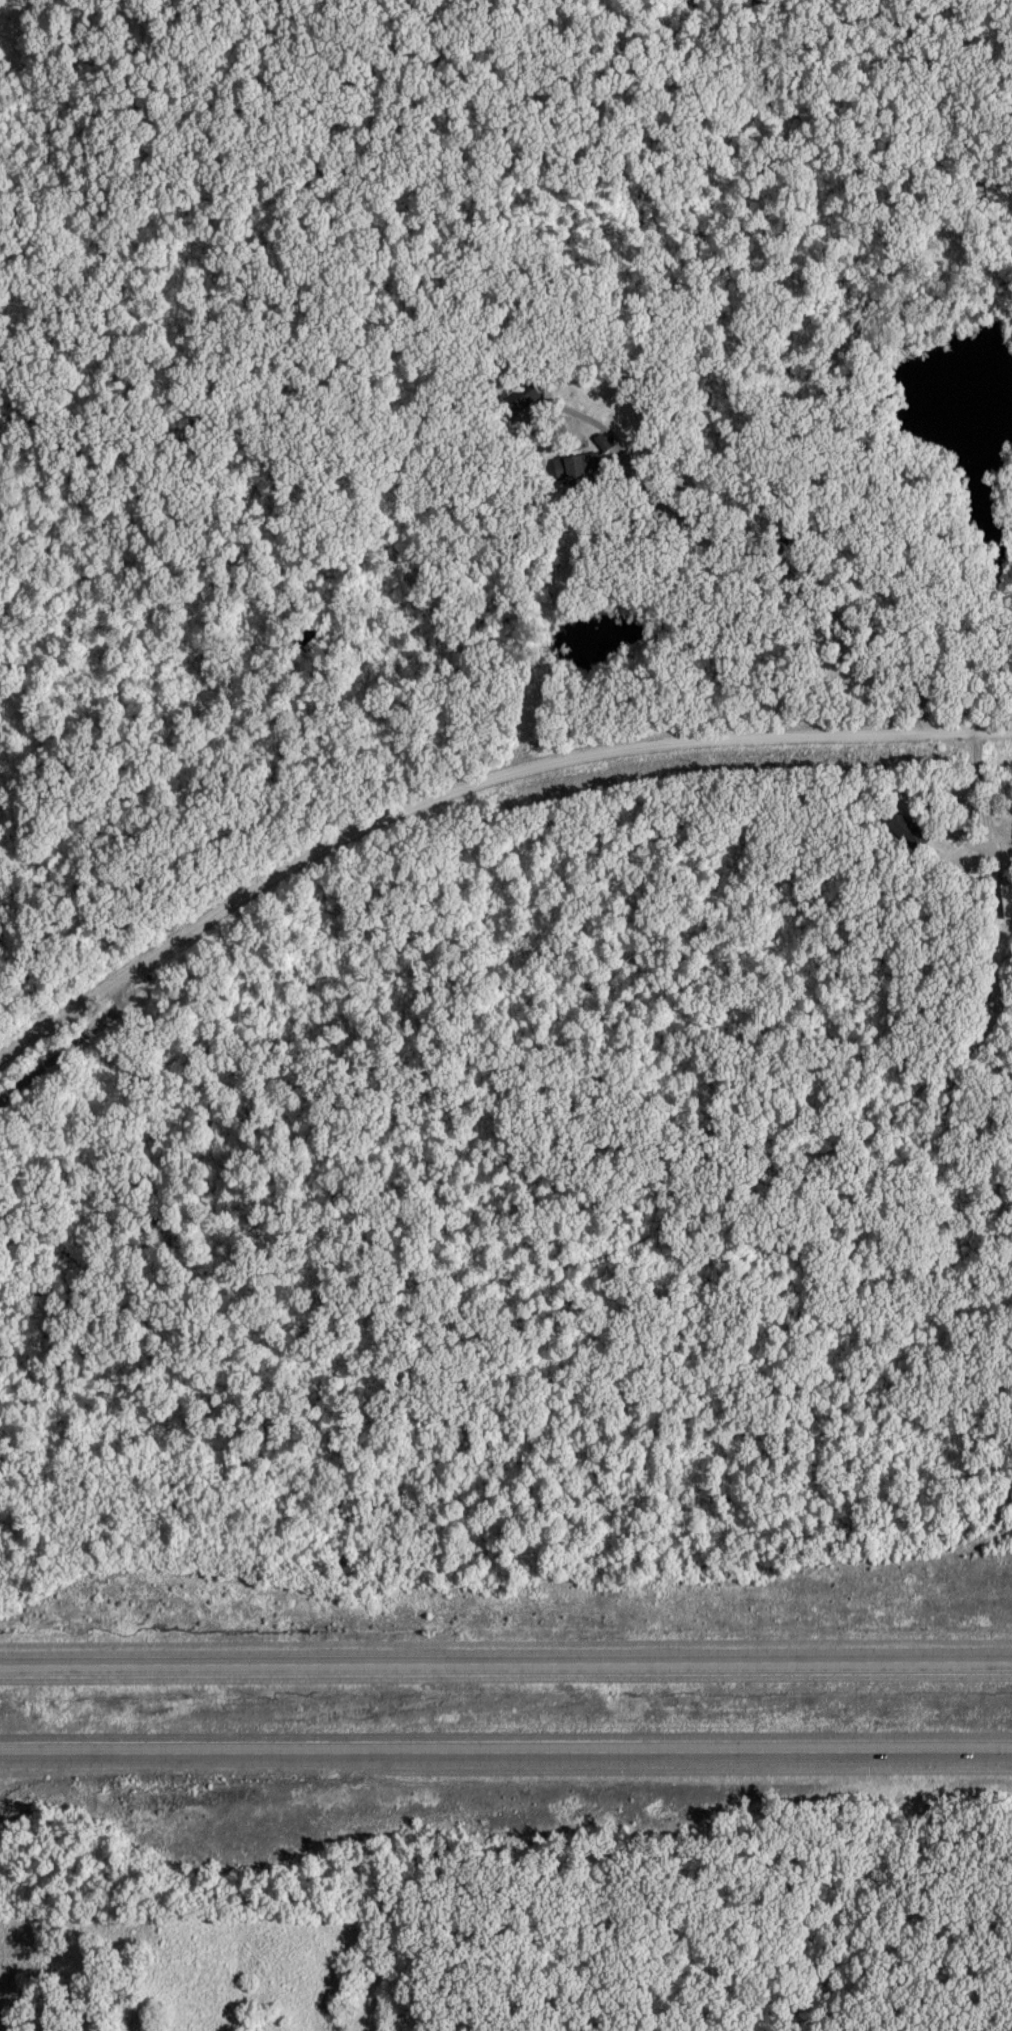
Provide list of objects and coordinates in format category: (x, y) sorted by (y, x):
building: (524, 398)
building: (579, 471)
road: (472, 791)
building: (909, 831)
building: (1008, 902)
road: (506, 1661)
road: (506, 1751)

